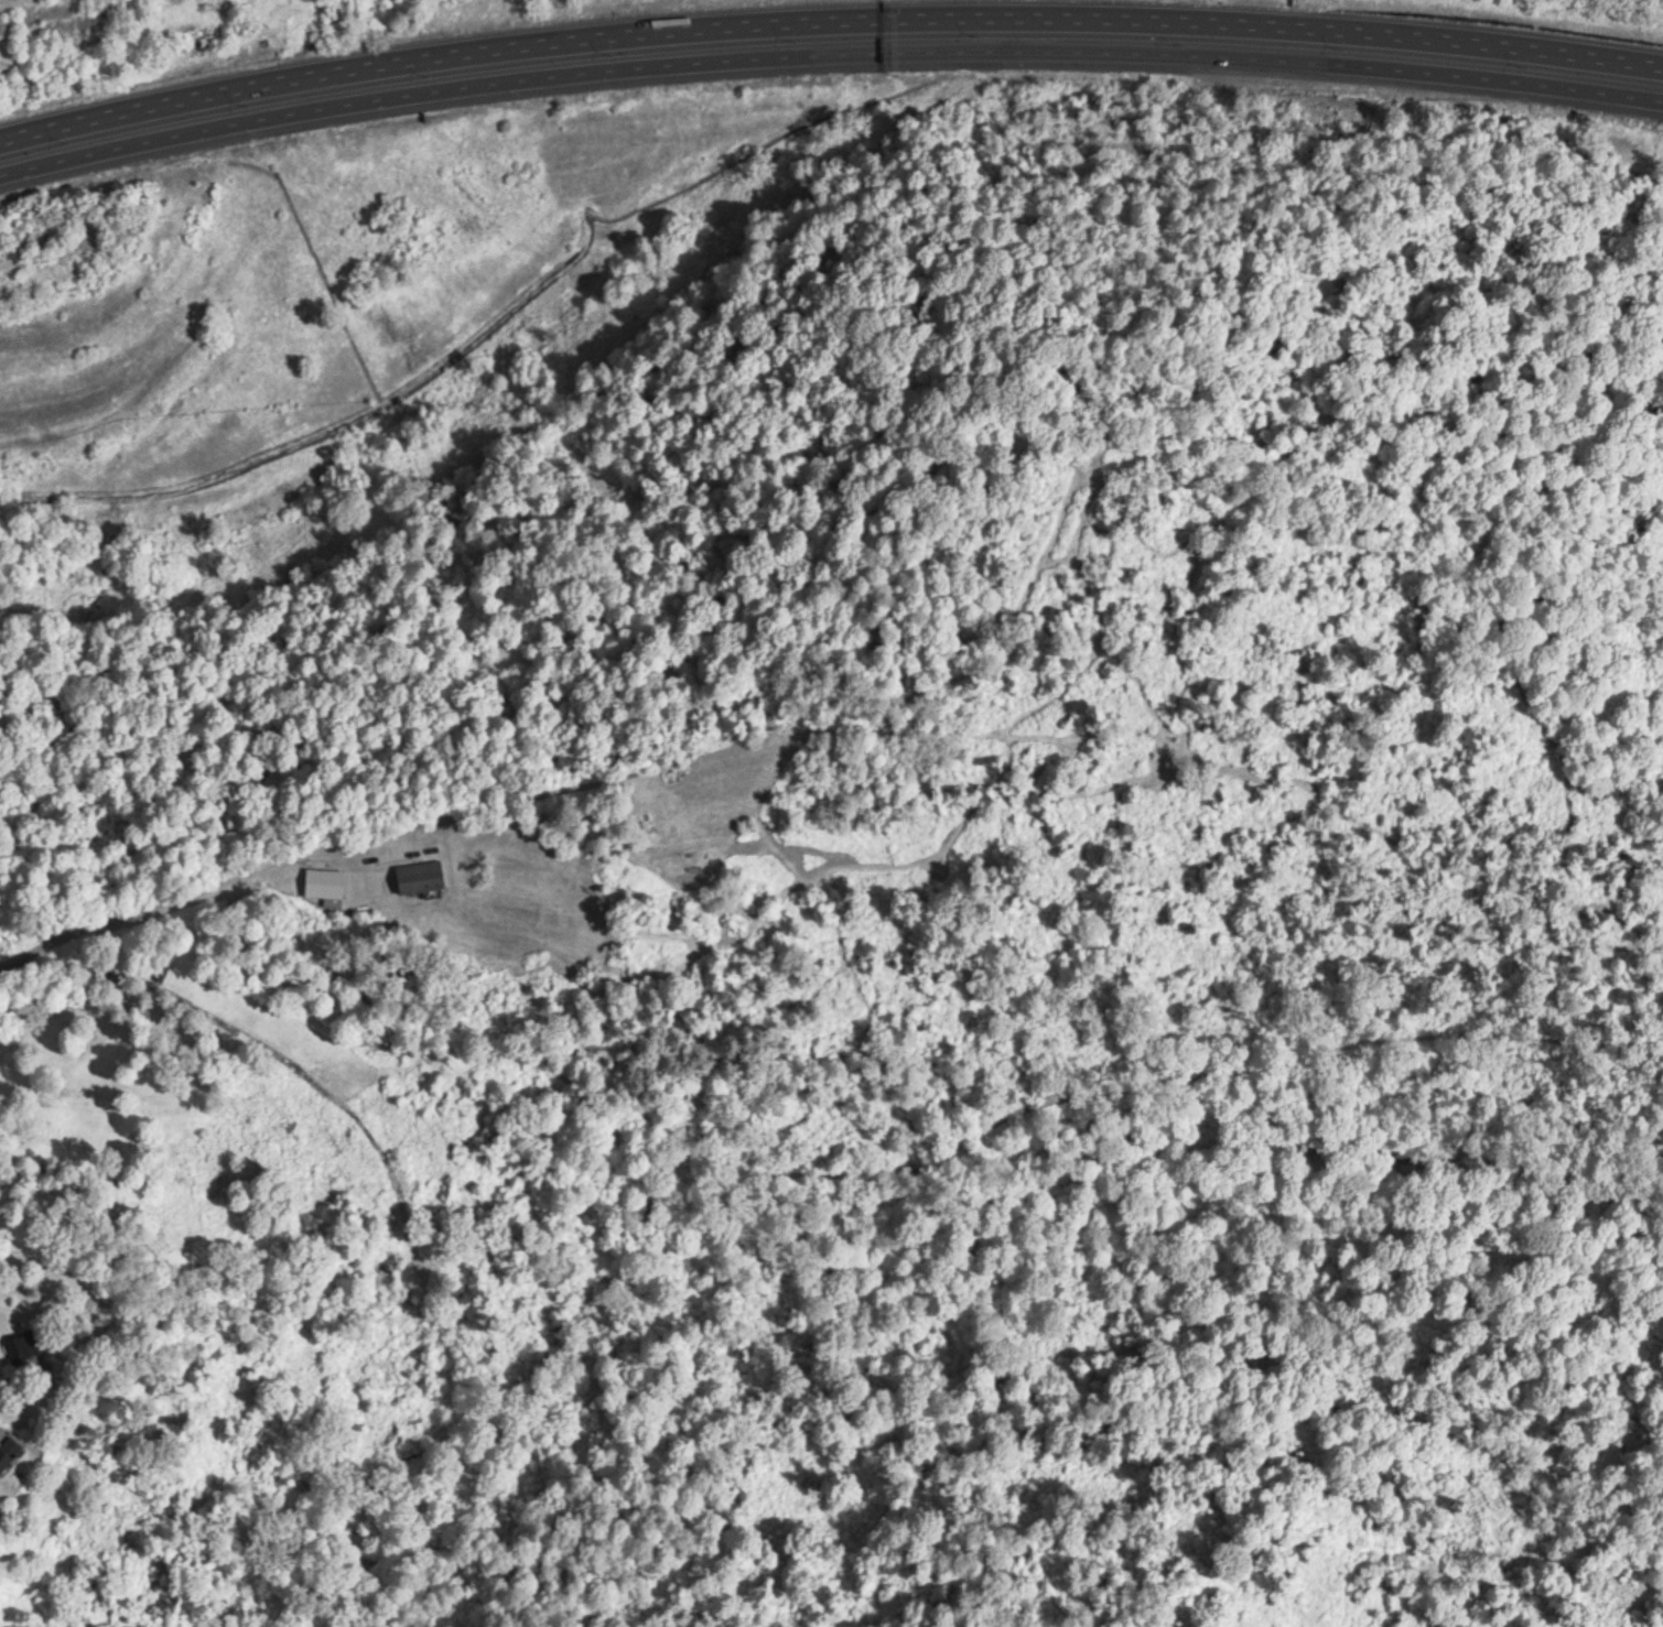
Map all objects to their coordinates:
road: (825, 9)
road: (824, 43)
road: (488, 822)
building: (422, 874)
building: (29, 1351)
building: (10, 1452)

